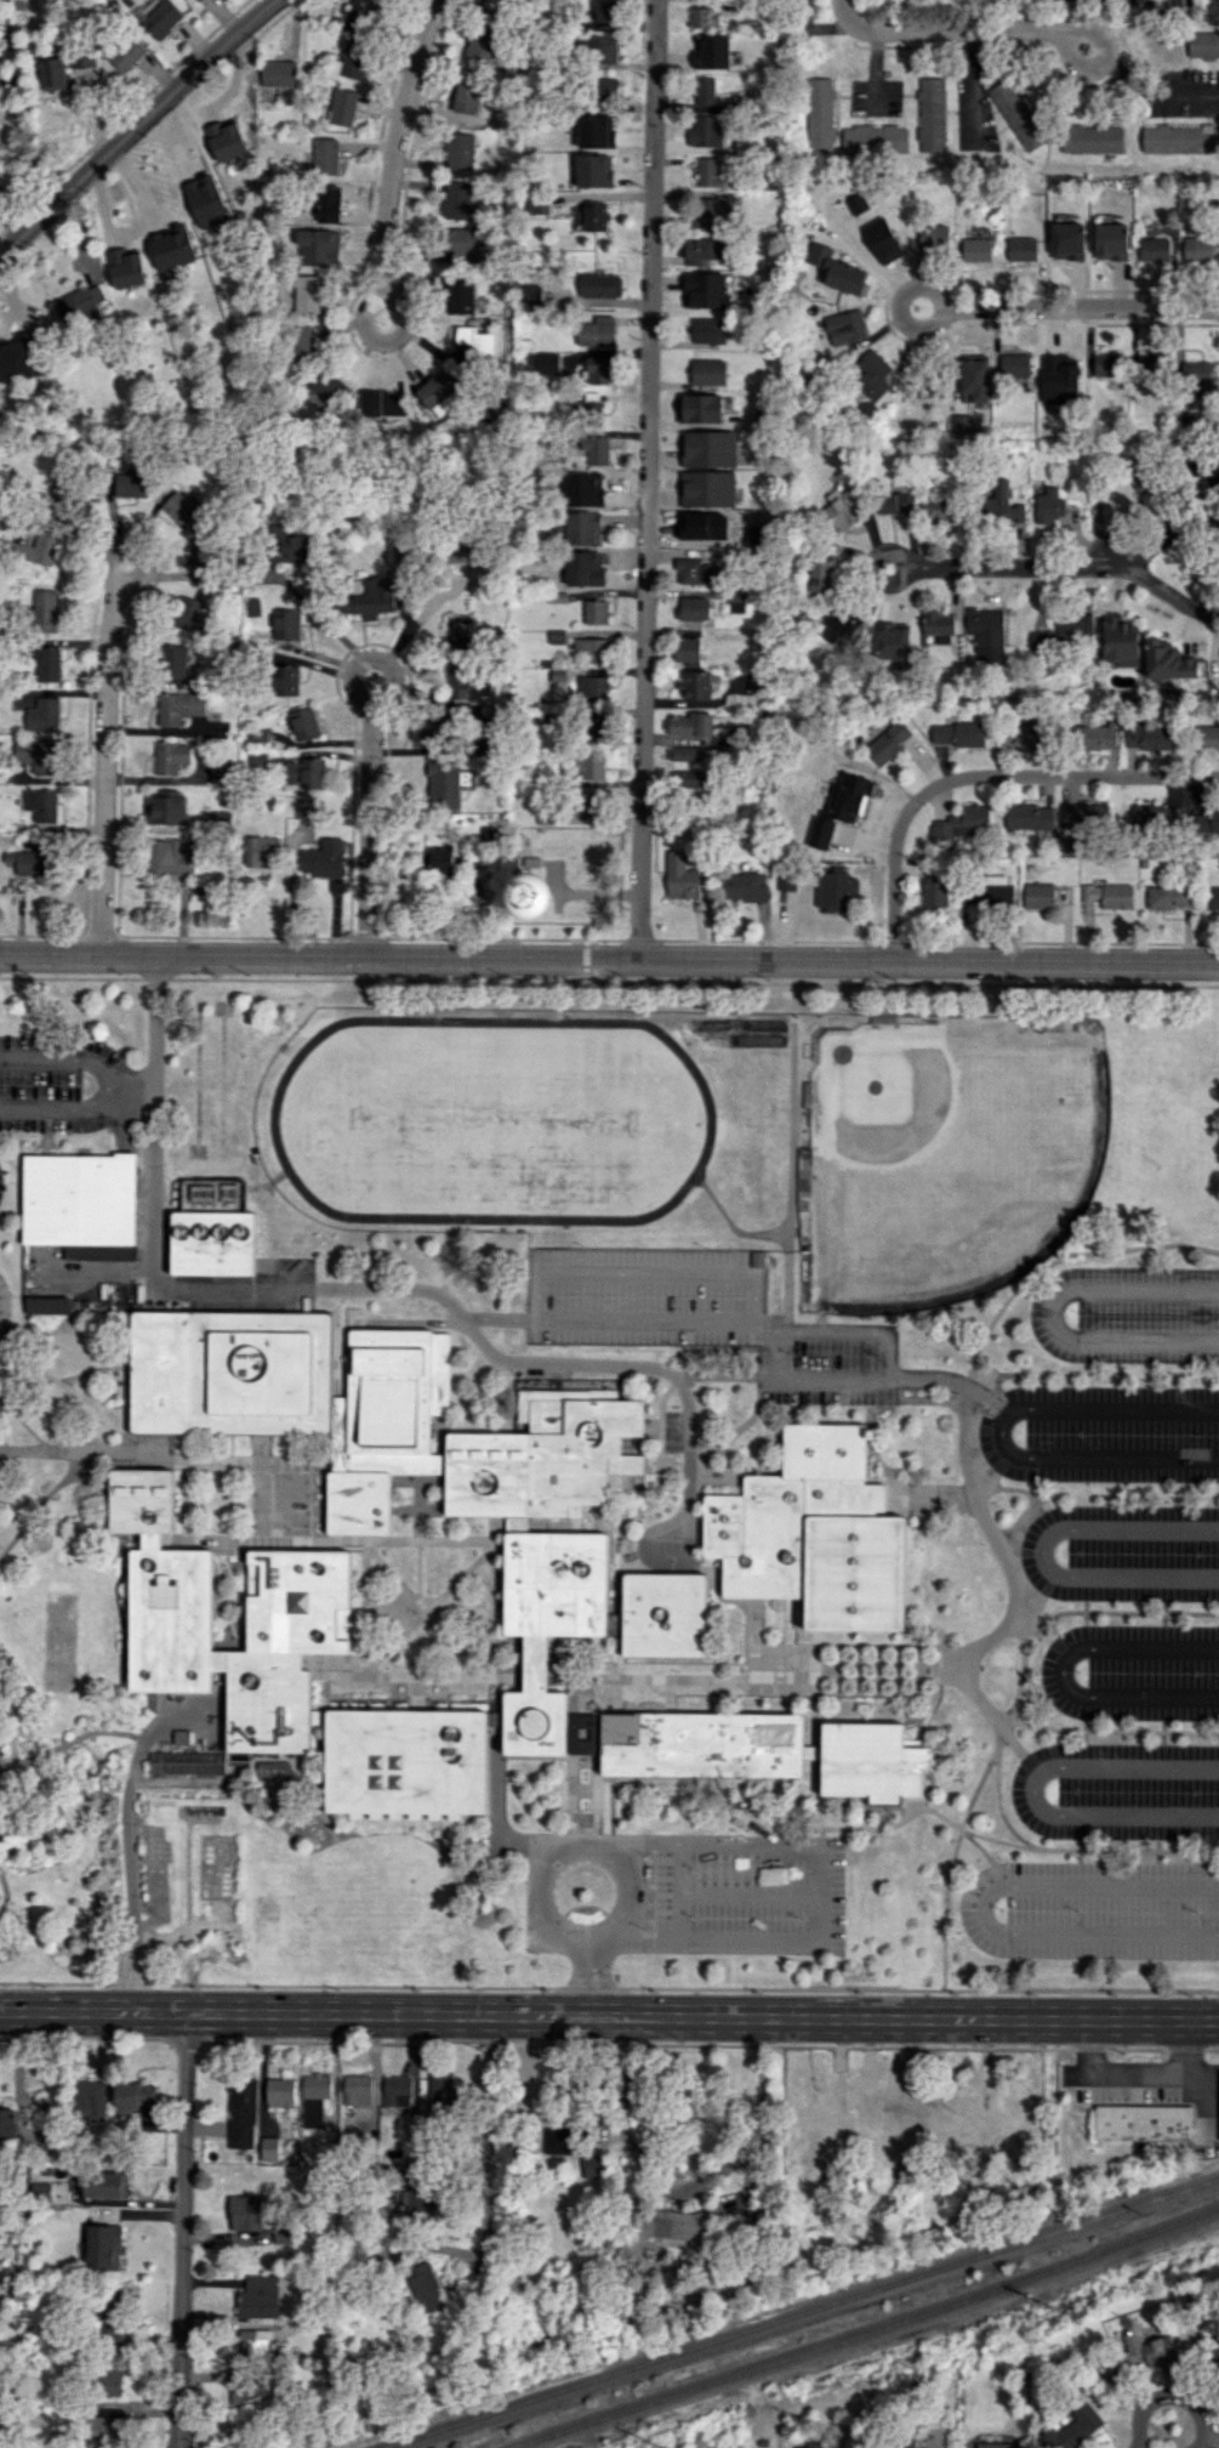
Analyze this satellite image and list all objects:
building: (199, 0)
building: (352, 10)
building: (605, 11)
building: (160, 17)
building: (368, 17)
building: (701, 17)
road: (947, 29)
building: (480, 42)
building: (1203, 44)
building: (602, 51)
building: (711, 51)
building: (126, 53)
building: (353, 59)
road: (1101, 59)
road: (238, 67)
building: (53, 73)
building: (278, 73)
building: (606, 89)
building: (706, 91)
road: (1150, 91)
building: (466, 93)
building: (341, 107)
building: (818, 114)
building: (930, 114)
building: (1018, 114)
road: (133, 125)
building: (706, 131)
building: (873, 138)
building: (1093, 138)
building: (1180, 138)
building: (226, 140)
road: (394, 142)
building: (460, 150)
building: (324, 155)
building: (593, 171)
building: (707, 171)
building: (323, 197)
building: (457, 200)
building: (205, 201)
building: (856, 203)
building: (536, 206)
building: (708, 212)
building: (593, 216)
building: (933, 234)
building: (881, 239)
building: (1067, 242)
building: (1111, 242)
building: (460, 244)
building: (976, 245)
building: (317, 246)
building: (1021, 249)
building: (1155, 249)
building: (1198, 249)
building: (701, 250)
building: (172, 252)
building: (125, 268)
building: (836, 271)
building: (600, 285)
building: (705, 290)
building: (306, 294)
building: (461, 295)
building: (80, 302)
road: (1069, 311)
building: (844, 326)
building: (708, 330)
building: (597, 331)
road: (382, 340)
building: (302, 341)
building: (475, 343)
building: (16, 359)
building: (1149, 362)
building: (552, 363)
building: (1014, 364)
building: (1107, 364)
building: (599, 370)
building: (707, 371)
building: (871, 374)
building: (1197, 374)
building: (1059, 379)
building: (974, 380)
building: (325, 388)
building: (439, 393)
building: (589, 402)
building: (381, 403)
building: (699, 408)
building: (1189, 410)
building: (708, 448)
building: (1138, 473)
road: (654, 478)
building: (571, 483)
building: (131, 484)
building: (707, 488)
building: (62, 493)
building: (893, 501)
building: (1002, 505)
building: (1049, 506)
building: (841, 507)
building: (182, 509)
building: (938, 510)
building: (582, 528)
road: (1170, 535)
building: (287, 545)
building: (38, 547)
building: (461, 547)
building: (199, 560)
building: (592, 567)
road: (972, 568)
building: (691, 570)
building: (821, 575)
road: (1173, 593)
building: (370, 598)
building: (736, 601)
building: (694, 608)
building: (45, 610)
building: (596, 612)
building: (192, 614)
road: (319, 615)
building: (936, 621)
building: (286, 624)
building: (833, 627)
building: (1063, 630)
building: (458, 631)
building: (987, 634)
building: (890, 640)
building: (936, 640)
building: (1120, 642)
building: (687, 648)
building: (593, 649)
road: (372, 658)
building: (1167, 659)
building: (173, 660)
building: (47, 664)
building: (286, 680)
building: (758, 680)
building: (466, 683)
building: (696, 685)
building: (592, 687)
building: (180, 706)
building: (44, 715)
building: (304, 723)
building: (437, 725)
building: (690, 725)
building: (594, 727)
building: (957, 733)
building: (1020, 734)
building: (1092, 735)
building: (1147, 735)
building: (1207, 738)
building: (888, 742)
building: (684, 752)
building: (36, 755)
road: (110, 756)
building: (171, 756)
building: (593, 767)
building: (220, 772)
building: (303, 772)
road: (980, 777)
building: (694, 779)
building: (443, 783)
building: (41, 805)
building: (585, 805)
building: (166, 807)
building: (307, 807)
building: (839, 808)
building: (1029, 816)
building: (1086, 816)
building: (1155, 816)
building: (221, 817)
building: (1203, 822)
building: (959, 824)
road: (369, 825)
building: (1069, 845)
building: (261, 851)
building: (169, 858)
building: (324, 858)
building: (32, 859)
building: (438, 859)
building: (680, 876)
building: (744, 886)
building: (834, 886)
building: (934, 891)
building: (990, 892)
building: (1038, 894)
building: (1109, 894)
building: (1169, 896)
building: (1212, 897)
road: (609, 956)
parking lot: (57, 1083)
road: (109, 1085)
road: (131, 1086)
road: (152, 1109)
park: (528, 1120)
park: (942, 1148)
parking lot: (0, 1182)
building: (79, 1198)
building: (213, 1229)
parking lot: (2, 1301)
building: (47, 1305)
road: (1052, 1313)
road: (499, 1318)
road: (753, 1319)
road: (764, 1328)
road: (490, 1352)
building: (230, 1373)
road: (724, 1374)
road: (887, 1378)
road: (951, 1380)
building: (397, 1399)
road: (1001, 1431)
building: (545, 1456)
building: (142, 1501)
building: (358, 1503)
building: (815, 1534)
road: (1043, 1551)
building: (556, 1584)
building: (298, 1600)
building: (665, 1613)
building: (171, 1615)
building: (536, 1663)
road: (1064, 1670)
building: (267, 1699)
building: (535, 1721)
building: (582, 1733)
building: (702, 1743)
building: (405, 1759)
building: (872, 1761)
building: (186, 1762)
road: (1033, 1789)
road: (583, 1840)
road: (646, 1842)
road: (818, 1842)
road: (130, 1865)
parking lot: (744, 1893)
road: (747, 1893)
road: (985, 1907)
road: (645, 1943)
road: (587, 1981)
road: (294, 2014)
road: (902, 2017)
road: (1186, 2046)
road: (1126, 2073)
parking lot: (1067, 2074)
road: (490, 2086)
building: (358, 2090)
building: (397, 2090)
building: (440, 2092)
parking lot: (1133, 2092)
building: (280, 2094)
building: (135, 2096)
building: (315, 2097)
building: (90, 2100)
building: (928, 2108)
building: (969, 2108)
building: (1018, 2108)
building: (883, 2109)
building: (241, 2113)
building: (814, 2114)
building: (7, 2122)
building: (1144, 2122)
parking lot: (1212, 2137)
building: (559, 2141)
building: (882, 2146)
building: (269, 2148)
building: (593, 2168)
road: (751, 2168)
road: (685, 2183)
building: (41, 2191)
building: (415, 2203)
road: (182, 2211)
building: (247, 2213)
building: (673, 2223)
building: (103, 2247)
building: (425, 2288)
building: (257, 2296)
railway: (798, 2312)
building: (112, 2317)
railway: (867, 2333)
building: (256, 2342)
building: (1149, 2348)
building: (109, 2379)
road: (1170, 2393)
building: (104, 2425)
building: (1072, 2429)
road: (178, 2430)
building: (905, 2442)

